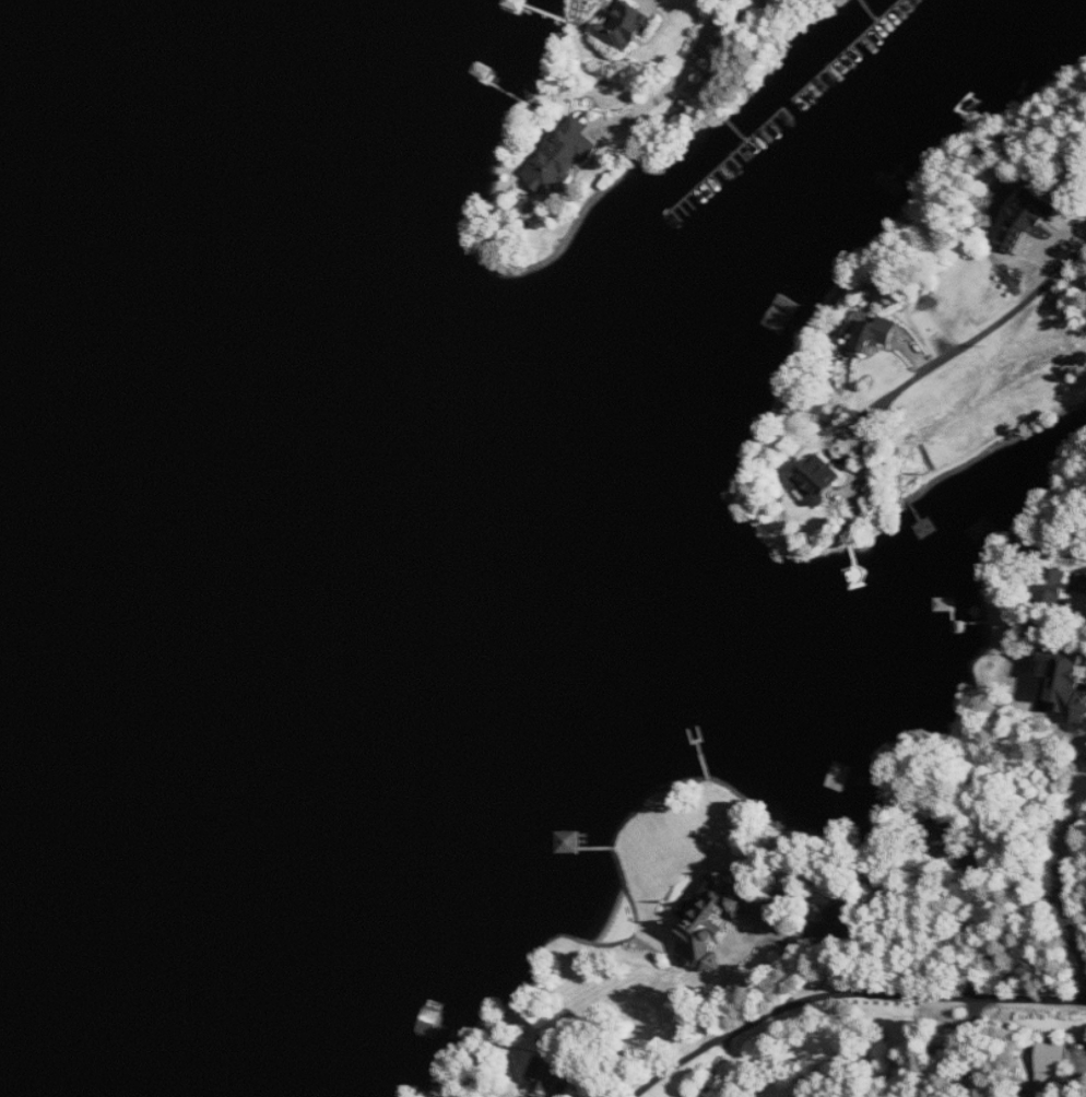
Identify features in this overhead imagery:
building: (628, 25)
road: (680, 74)
building: (562, 156)
building: (1026, 219)
building: (782, 314)
road: (980, 328)
building: (874, 333)
building: (819, 479)
building: (1065, 684)
building: (569, 842)
building: (724, 912)
road: (754, 921)
road: (1015, 935)
road: (841, 996)
road: (954, 1047)
building: (1055, 1062)
building: (547, 1073)

